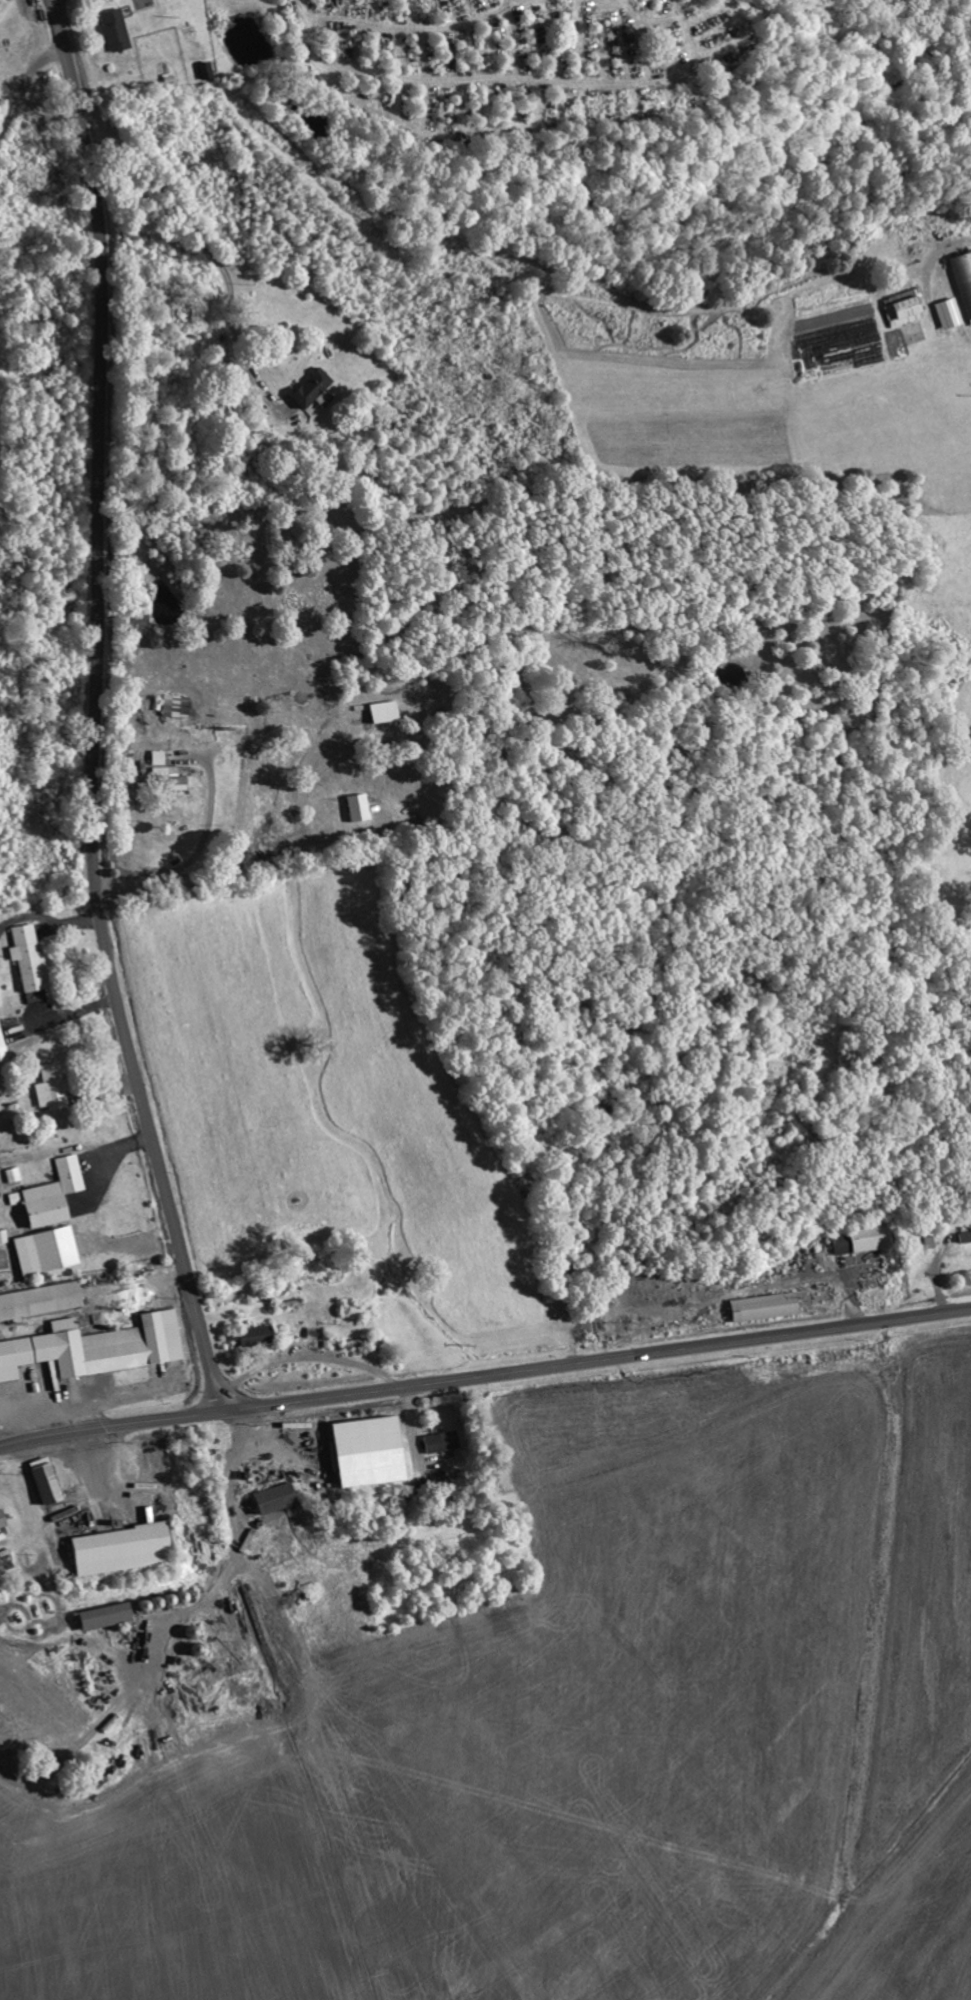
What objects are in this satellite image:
building: (119, 31)
building: (0, 53)
building: (208, 71)
road: (27, 86)
road: (512, 170)
building: (962, 280)
building: (944, 313)
building: (314, 389)
building: (179, 707)
road: (97, 711)
building: (387, 713)
building: (170, 773)
building: (363, 809)
building: (32, 960)
building: (4, 1049)
building: (56, 1089)
building: (15, 1175)
building: (54, 1195)
building: (4, 1237)
building: (963, 1237)
building: (50, 1251)
building: (42, 1301)
building: (770, 1307)
building: (256, 1336)
building: (99, 1348)
road: (485, 1377)
building: (443, 1442)
building: (376, 1451)
building: (50, 1481)
building: (280, 1498)
building: (4, 1519)
building: (125, 1549)
building: (2, 1568)
building: (110, 1616)

